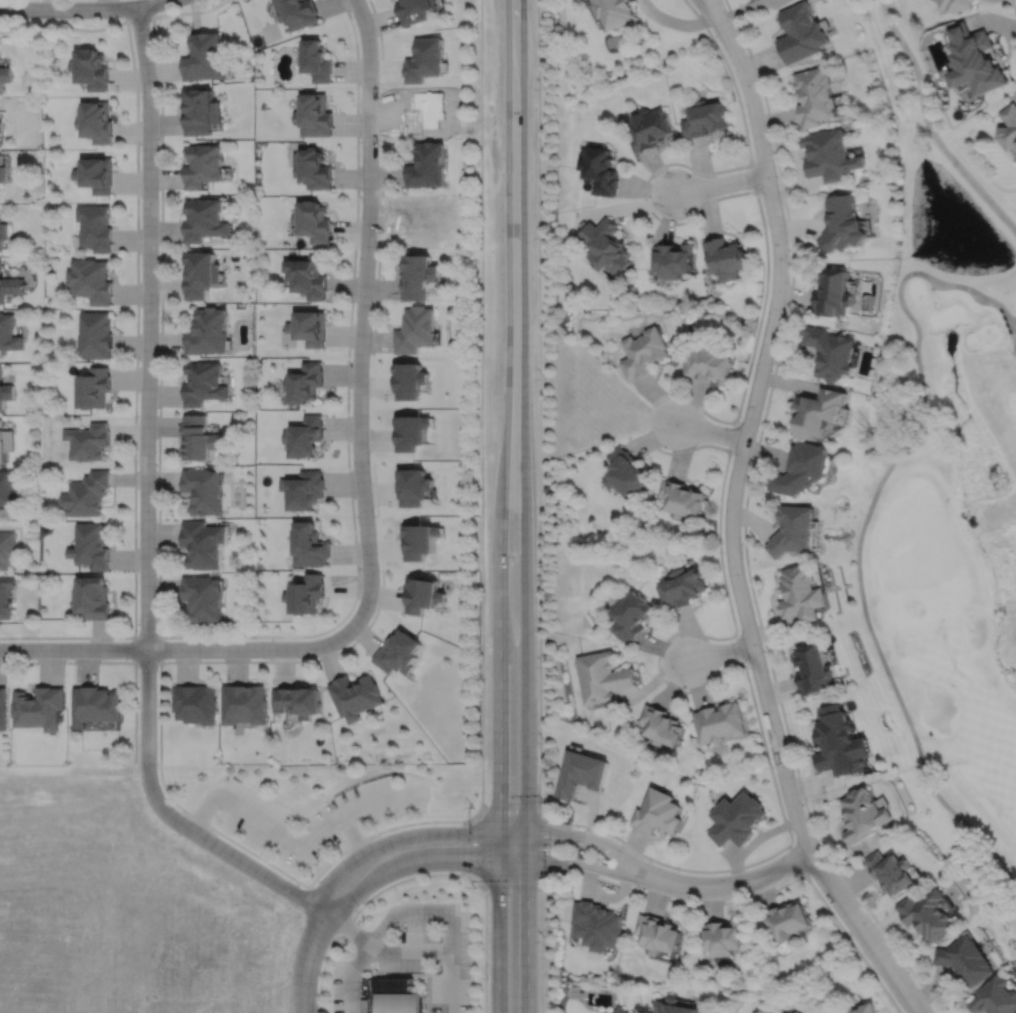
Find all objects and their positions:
building: (957, 4)
road: (1013, 7)
road: (82, 8)
building: (415, 10)
road: (708, 10)
road: (715, 10)
building: (615, 11)
building: (298, 12)
street lamp: (118, 17)
road: (138, 18)
park: (269, 30)
building: (800, 33)
building: (205, 56)
building: (425, 59)
building: (976, 59)
building: (316, 60)
building: (91, 69)
building: (5, 75)
street lamp: (157, 86)
street lamp: (378, 86)
road: (381, 95)
building: (815, 97)
building: (202, 111)
building: (429, 112)
building: (315, 115)
building: (705, 118)
building: (96, 122)
building: (1, 126)
road: (928, 127)
building: (1009, 127)
building: (650, 129)
street lamp: (139, 148)
building: (829, 155)
road: (514, 161)
building: (204, 165)
building: (427, 166)
building: (314, 168)
building: (600, 169)
building: (2, 173)
building: (96, 175)
road: (720, 183)
street lamp: (359, 195)
road: (643, 197)
building: (207, 220)
building: (314, 221)
building: (842, 224)
building: (95, 227)
building: (3, 233)
building: (606, 246)
building: (725, 259)
building: (673, 260)
building: (202, 275)
building: (308, 277)
building: (417, 277)
building: (91, 280)
building: (10, 287)
building: (832, 295)
street lamp: (159, 302)
street lamp: (372, 303)
road: (362, 317)
road: (1011, 319)
road: (149, 327)
building: (310, 328)
building: (415, 330)
road: (135, 331)
building: (9, 333)
building: (209, 333)
building: (95, 335)
building: (644, 353)
building: (830, 354)
building: (708, 364)
building: (306, 382)
building: (205, 384)
building: (414, 384)
building: (94, 389)
building: (5, 394)
road: (694, 401)
street lamp: (350, 405)
road: (540, 408)
building: (818, 412)
street lamp: (137, 414)
road: (505, 429)
road: (709, 431)
building: (414, 434)
building: (303, 435)
building: (199, 437)
building: (5, 443)
building: (88, 443)
road: (683, 451)
street lamp: (488, 457)
building: (800, 468)
building: (622, 472)
park: (942, 477)
road: (522, 479)
building: (413, 486)
building: (302, 488)
building: (7, 489)
building: (203, 489)
building: (84, 494)
building: (679, 498)
road: (865, 517)
street lamp: (156, 518)
road: (743, 522)
road: (972, 525)
building: (792, 529)
road: (731, 531)
building: (419, 539)
building: (203, 543)
building: (308, 544)
building: (89, 546)
building: (8, 549)
street lamp: (379, 571)
building: (680, 587)
building: (305, 593)
building: (423, 593)
building: (801, 593)
building: (6, 595)
building: (90, 597)
building: (203, 597)
road: (380, 599)
road: (481, 604)
building: (629, 615)
road: (733, 634)
road: (217, 636)
road: (146, 637)
street lamp: (255, 638)
street lamp: (126, 639)
street lamp: (488, 646)
road: (739, 648)
road: (176, 649)
building: (398, 652)
road: (719, 652)
street lamp: (10, 659)
road: (118, 662)
road: (147, 662)
building: (814, 669)
street lamp: (157, 671)
building: (601, 676)
building: (354, 696)
building: (297, 701)
building: (194, 703)
building: (243, 704)
building: (93, 705)
building: (38, 707)
building: (3, 709)
building: (718, 722)
building: (659, 726)
building: (838, 742)
street lamp: (157, 762)
road: (499, 775)
building: (656, 813)
parking lot: (314, 814)
building: (863, 816)
road: (172, 817)
building: (735, 819)
road: (526, 824)
road: (354, 833)
road: (473, 834)
traffic signals: (499, 834)
street lamp: (180, 835)
street lamp: (379, 835)
traffic signals: (526, 835)
road: (299, 843)
road: (543, 846)
road: (481, 859)
traffic signals: (499, 859)
traffic signals: (526, 860)
road: (798, 860)
building: (892, 873)
road: (423, 875)
street lamp: (298, 885)
road: (735, 885)
street lamp: (475, 889)
road: (755, 896)
road: (333, 899)
street lamp: (358, 906)
road: (415, 911)
building: (928, 916)
building: (787, 922)
building: (596, 926)
street lamp: (401, 929)
street lamp: (472, 935)
building: (655, 935)
building: (722, 938)
road: (540, 945)
road: (381, 951)
parking lot: (413, 955)
road: (307, 961)
building: (967, 962)
street lamp: (289, 972)
road: (395, 974)
street lamp: (489, 978)
street lamp: (330, 979)
building: (394, 996)
building: (996, 998)
street lamp: (472, 1002)
building: (366, 1005)
building: (673, 1008)
building: (619, 1010)
building: (862, 1010)

